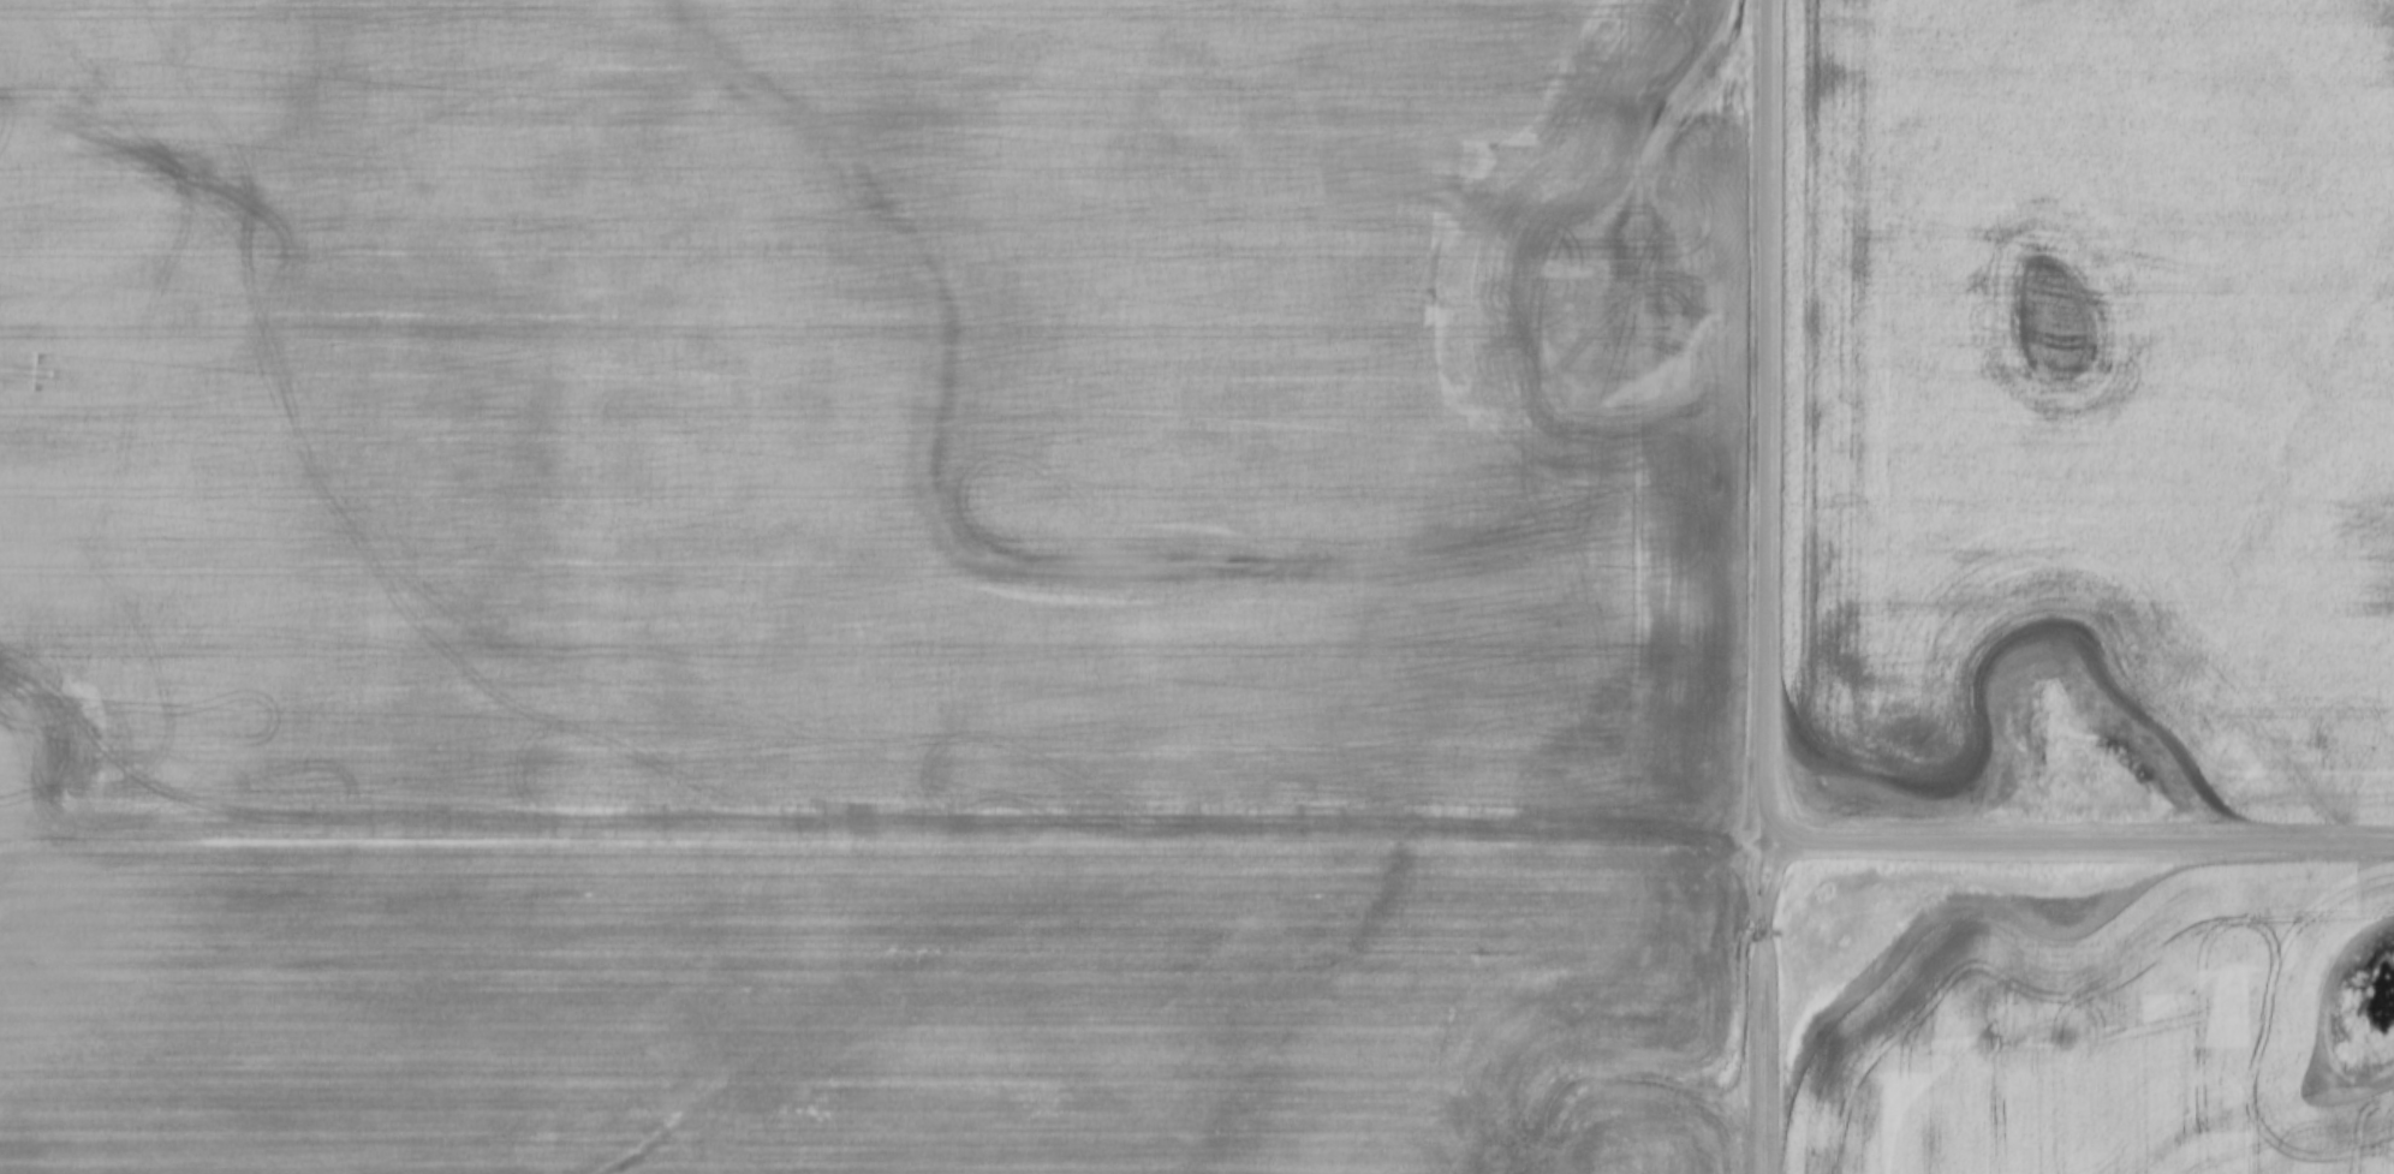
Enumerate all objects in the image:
road: (1769, 422)
road: (2080, 847)
road: (1770, 1008)

